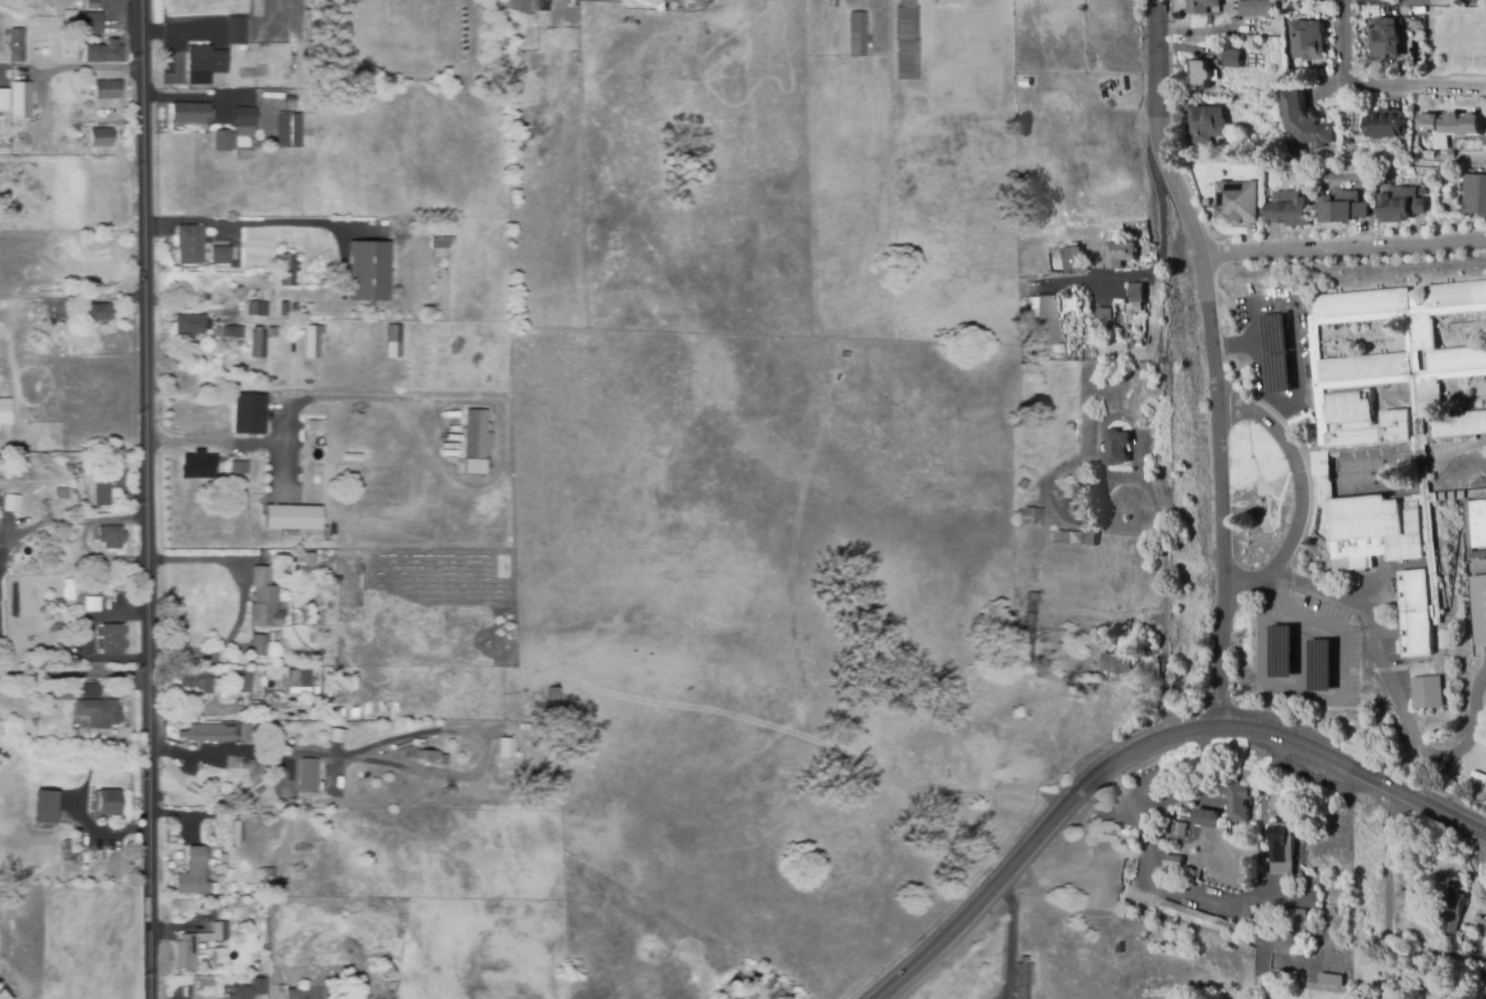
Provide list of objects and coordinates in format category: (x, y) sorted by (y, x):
building: (709, 0)
road: (1388, 0)
building: (1471, 0)
building: (947, 1)
building: (832, 3)
building: (93, 4)
building: (543, 5)
building: (1202, 6)
building: (1259, 9)
building: (44, 22)
building: (91, 24)
building: (236, 31)
building: (857, 34)
building: (1386, 39)
building: (906, 40)
building: (1309, 41)
building: (15, 44)
building: (102, 53)
building: (1232, 57)
building: (204, 64)
building: (1202, 74)
building: (1026, 82)
road: (1377, 84)
building: (107, 90)
building: (3, 99)
building: (20, 100)
building: (290, 104)
building: (190, 113)
building: (246, 117)
building: (1305, 123)
building: (1208, 124)
building: (1385, 125)
building: (1449, 126)
building: (288, 131)
building: (100, 138)
building: (308, 138)
building: (224, 141)
building: (1475, 195)
building: (1236, 202)
building: (1400, 204)
building: (1342, 207)
building: (1287, 209)
road: (249, 223)
building: (438, 243)
road: (1344, 246)
building: (202, 249)
building: (1121, 254)
building: (1072, 259)
building: (245, 264)
road: (1160, 265)
building: (286, 269)
building: (368, 272)
building: (1138, 293)
building: (258, 309)
building: (284, 309)
building: (95, 313)
road: (230, 314)
building: (1105, 314)
building: (1047, 321)
building: (190, 325)
building: (233, 332)
building: (272, 333)
building: (313, 341)
building: (394, 341)
building: (238, 343)
building: (258, 343)
road: (1234, 344)
road: (1212, 356)
road: (1295, 364)
building: (172, 399)
road: (422, 401)
building: (4, 411)
building: (249, 415)
building: (476, 442)
building: (1398, 444)
building: (1117, 448)
building: (198, 467)
building: (239, 468)
building: (67, 469)
building: (98, 490)
building: (61, 492)
building: (1066, 492)
road: (1298, 498)
road: (146, 499)
building: (11, 503)
building: (26, 504)
building: (214, 510)
building: (14, 512)
building: (291, 517)
building: (1030, 517)
road: (61, 525)
building: (111, 537)
building: (1065, 537)
building: (1, 538)
building: (1090, 539)
building: (310, 558)
building: (335, 581)
building: (70, 589)
building: (263, 600)
road: (240, 602)
road: (1164, 602)
building: (59, 603)
building: (92, 606)
building: (1030, 623)
building: (111, 639)
building: (257, 646)
building: (280, 662)
building: (1116, 664)
road: (74, 672)
building: (360, 678)
building: (299, 679)
building: (191, 682)
building: (245, 685)
road: (1395, 690)
building: (90, 691)
building: (1426, 692)
building: (58, 693)
road: (1317, 697)
building: (552, 701)
road: (233, 711)
building: (99, 713)
building: (339, 714)
building: (208, 734)
building: (337, 735)
building: (65, 745)
road: (1141, 745)
building: (425, 755)
building: (506, 762)
building: (246, 765)
road: (402, 765)
building: (310, 772)
building: (1238, 801)
building: (109, 802)
building: (1184, 802)
building: (45, 808)
building: (1205, 818)
road: (103, 829)
building: (238, 829)
building: (1180, 829)
building: (1115, 838)
building: (1283, 849)
building: (64, 852)
road: (1479, 856)
building: (223, 859)
building: (1173, 861)
building: (193, 874)
building: (1191, 876)
building: (270, 877)
road: (1382, 889)
building: (1405, 899)
road: (1224, 902)
building: (339, 904)
building: (261, 908)
building: (1450, 908)
building: (236, 917)
building: (1301, 918)
building: (1204, 920)
building: (261, 922)
road: (1013, 937)
building: (1119, 948)
building: (1454, 951)
building: (186, 956)
building: (736, 978)
building: (1024, 979)
building: (772, 981)
building: (187, 982)
building: (1482, 988)
building: (249, 989)
building: (280, 989)
building: (294, 993)

